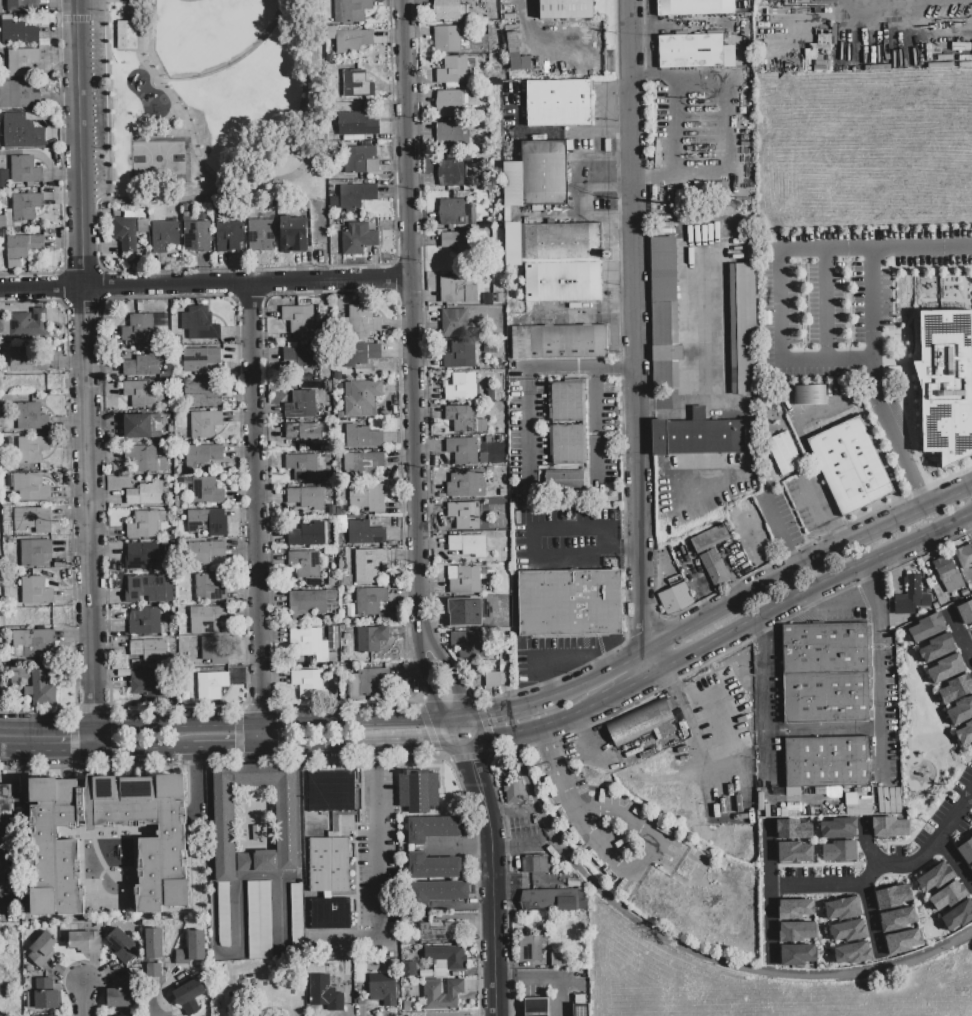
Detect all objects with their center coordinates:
building: (22, 6)
road: (898, 6)
building: (694, 7)
building: (565, 9)
building: (449, 10)
building: (351, 11)
road: (81, 19)
road: (650, 21)
park: (207, 29)
building: (18, 33)
building: (125, 35)
building: (447, 39)
building: (353, 40)
building: (971, 41)
building: (694, 52)
building: (515, 54)
road: (237, 60)
building: (22, 62)
road: (149, 69)
building: (453, 72)
road: (78, 76)
building: (357, 84)
building: (18, 95)
parking lot: (96, 100)
park: (214, 100)
building: (559, 103)
building: (448, 104)
road: (729, 122)
road: (675, 126)
building: (357, 127)
road: (166, 129)
building: (21, 132)
building: (451, 135)
road: (311, 155)
park: (156, 159)
building: (360, 160)
road: (61, 165)
building: (24, 170)
building: (451, 174)
building: (537, 174)
building: (471, 175)
building: (3, 178)
building: (356, 196)
road: (169, 199)
building: (25, 206)
building: (455, 212)
building: (134, 213)
building: (142, 225)
building: (293, 233)
building: (125, 234)
building: (261, 234)
building: (164, 236)
building: (197, 236)
building: (229, 237)
building: (357, 239)
building: (459, 243)
building: (24, 246)
road: (921, 249)
road: (780, 250)
building: (558, 261)
road: (240, 268)
road: (204, 282)
building: (458, 289)
road: (825, 305)
building: (664, 314)
road: (410, 318)
building: (299, 322)
building: (362, 322)
building: (457, 323)
building: (28, 324)
building: (199, 324)
building: (138, 328)
building: (743, 329)
road: (637, 335)
building: (558, 342)
road: (690, 345)
building: (289, 354)
building: (359, 355)
building: (460, 355)
building: (309, 357)
building: (199, 360)
building: (25, 363)
building: (142, 367)
road: (525, 372)
building: (945, 383)
building: (459, 387)
road: (425, 388)
building: (144, 394)
building: (200, 395)
building: (810, 395)
building: (362, 399)
building: (301, 404)
building: (30, 417)
building: (462, 418)
building: (567, 422)
parking lot: (529, 423)
building: (205, 424)
building: (142, 426)
road: (599, 427)
building: (304, 434)
road: (892, 435)
building: (363, 437)
building: (698, 437)
road: (86, 440)
building: (31, 449)
building: (462, 450)
building: (784, 454)
building: (202, 455)
building: (144, 459)
building: (361, 466)
building: (850, 466)
building: (302, 467)
building: (564, 482)
building: (466, 483)
building: (31, 488)
building: (206, 491)
building: (146, 493)
building: (367, 497)
building: (306, 498)
road: (815, 506)
road: (258, 514)
building: (464, 515)
building: (33, 519)
building: (207, 522)
building: (145, 524)
road: (776, 524)
building: (365, 533)
building: (307, 535)
building: (709, 539)
parking lot: (568, 541)
road: (831, 543)
building: (468, 545)
building: (205, 552)
building: (30, 554)
building: (144, 556)
road: (531, 556)
building: (964, 556)
road: (793, 562)
building: (305, 563)
building: (371, 564)
building: (714, 569)
building: (946, 573)
building: (464, 579)
road: (869, 583)
building: (209, 588)
road: (811, 589)
building: (149, 590)
building: (35, 591)
road: (756, 594)
building: (330, 597)
building: (911, 597)
building: (675, 598)
building: (369, 601)
road: (838, 603)
building: (570, 604)
building: (308, 607)
building: (464, 612)
building: (965, 612)
building: (203, 620)
building: (145, 622)
road: (760, 626)
building: (925, 628)
building: (371, 639)
building: (467, 644)
building: (30, 646)
building: (307, 646)
building: (937, 647)
road: (966, 650)
building: (213, 651)
building: (148, 653)
road: (562, 658)
building: (944, 668)
road: (446, 672)
building: (826, 673)
building: (491, 679)
road: (427, 680)
building: (306, 682)
building: (371, 682)
road: (627, 683)
building: (148, 685)
building: (211, 685)
building: (41, 689)
building: (954, 689)
road: (879, 690)
road: (763, 708)
road: (497, 710)
building: (959, 711)
building: (640, 722)
road: (273, 724)
road: (46, 728)
road: (822, 730)
road: (536, 731)
building: (963, 733)
road: (93, 740)
road: (426, 742)
road: (542, 744)
road: (326, 745)
road: (228, 749)
road: (46, 751)
road: (143, 751)
road: (375, 756)
building: (634, 760)
building: (826, 762)
road: (561, 782)
building: (416, 790)
building: (330, 792)
building: (510, 792)
building: (856, 805)
building: (224, 818)
road: (637, 823)
building: (889, 826)
building: (837, 827)
building: (431, 828)
building: (792, 829)
building: (6, 840)
road: (601, 841)
building: (55, 845)
road: (519, 845)
road: (864, 845)
building: (837, 850)
building: (965, 850)
building: (792, 851)
road: (953, 862)
road: (492, 863)
building: (329, 865)
road: (883, 865)
building: (535, 866)
building: (970, 866)
building: (433, 867)
building: (723, 875)
building: (933, 877)
road: (376, 884)
road: (770, 890)
building: (437, 892)
building: (947, 895)
building: (892, 896)
building: (709, 897)
building: (551, 900)
building: (793, 908)
building: (841, 908)
building: (330, 913)
building: (957, 915)
building: (297, 916)
building: (896, 919)
building: (260, 920)
road: (871, 920)
building: (847, 930)
building: (795, 931)
building: (443, 932)
road: (238, 934)
building: (901, 941)
building: (85, 942)
building: (152, 942)
building: (120, 943)
building: (192, 948)
building: (530, 949)
building: (42, 950)
building: (851, 953)
building: (796, 954)
building: (445, 959)
building: (394, 963)
building: (410, 969)
building: (153, 971)
building: (120, 982)
building: (383, 993)
building: (324, 994)
building: (442, 994)
building: (188, 997)
building: (118, 998)
road: (81, 999)
building: (43, 1000)
road: (149, 1005)
building: (534, 1007)
building: (580, 1010)
building: (48, 1015)
building: (137, 1015)

